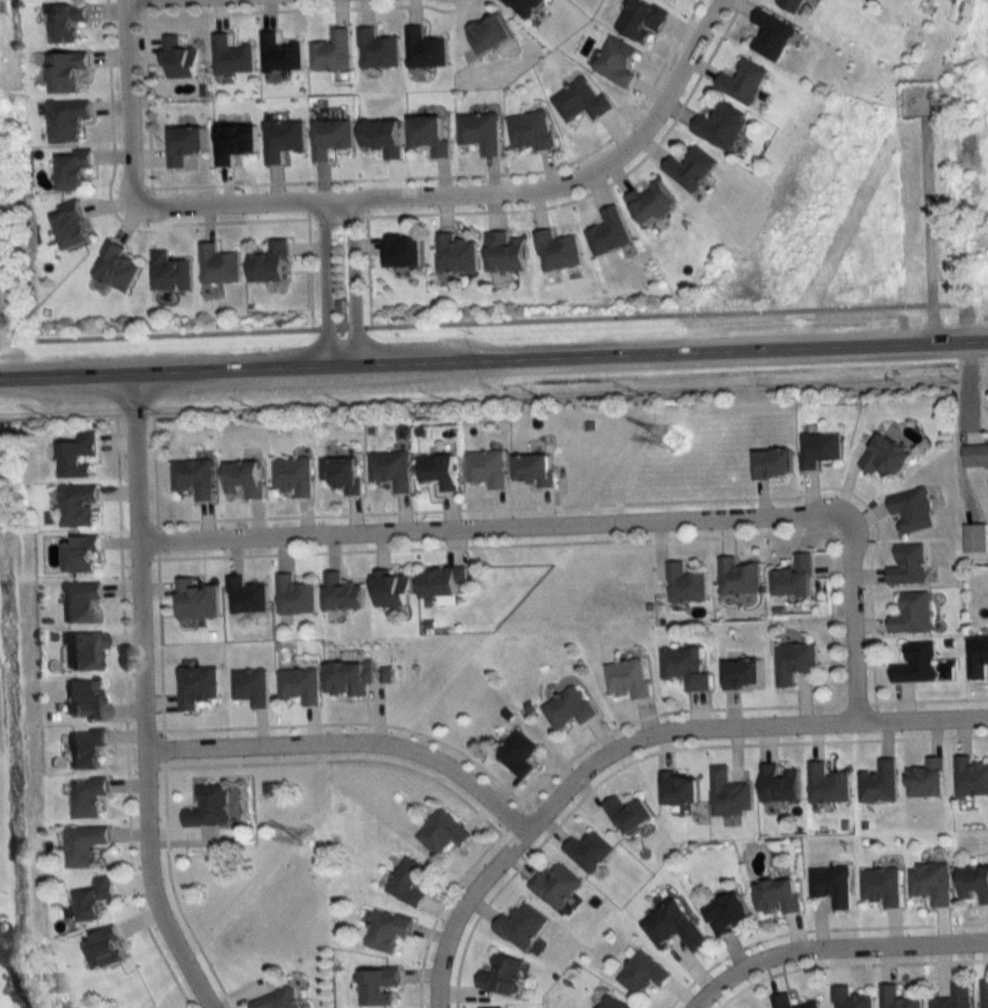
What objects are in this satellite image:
road: (131, 0)
building: (793, 5)
building: (524, 6)
building: (641, 20)
building: (63, 22)
building: (487, 34)
building: (771, 34)
building: (423, 50)
building: (376, 51)
building: (331, 53)
building: (278, 55)
building: (230, 57)
building: (178, 60)
building: (615, 62)
building: (64, 72)
building: (742, 83)
building: (580, 102)
road: (666, 103)
road: (126, 117)
building: (64, 120)
building: (720, 127)
building: (530, 132)
building: (480, 134)
building: (428, 137)
building: (330, 138)
building: (381, 139)
building: (281, 140)
building: (232, 144)
building: (182, 146)
building: (689, 169)
building: (71, 172)
road: (373, 199)
building: (649, 203)
building: (68, 226)
building: (607, 232)
road: (926, 233)
building: (402, 251)
building: (555, 251)
building: (503, 252)
building: (455, 255)
building: (269, 263)
building: (217, 266)
building: (113, 268)
building: (169, 273)
road: (354, 283)
road: (324, 284)
road: (493, 318)
road: (494, 361)
road: (479, 397)
power tower: (674, 442)
building: (817, 449)
building: (76, 454)
building: (975, 455)
building: (884, 456)
building: (770, 463)
road: (152, 469)
building: (484, 469)
building: (532, 469)
building: (389, 470)
building: (437, 470)
building: (340, 473)
building: (291, 475)
building: (193, 477)
building: (242, 478)
building: (76, 504)
road: (612, 504)
building: (910, 510)
road: (507, 526)
building: (974, 538)
road: (154, 539)
road: (492, 544)
building: (79, 553)
building: (907, 565)
building: (736, 576)
building: (793, 577)
building: (683, 583)
building: (440, 584)
building: (391, 589)
building: (340, 592)
building: (245, 596)
building: (294, 596)
building: (195, 600)
building: (79, 601)
building: (911, 613)
road: (831, 617)
road: (849, 637)
road: (157, 644)
building: (81, 650)
building: (976, 656)
building: (792, 661)
building: (915, 663)
building: (683, 666)
building: (740, 672)
building: (347, 677)
building: (626, 677)
building: (299, 684)
building: (196, 686)
building: (250, 687)
road: (142, 698)
road: (926, 699)
building: (82, 701)
road: (853, 702)
building: (567, 708)
road: (663, 712)
road: (123, 716)
road: (354, 723)
road: (636, 738)
road: (347, 744)
building: (84, 747)
road: (162, 748)
road: (650, 752)
building: (516, 754)
road: (341, 759)
building: (969, 777)
building: (925, 779)
building: (877, 783)
building: (777, 784)
building: (825, 784)
building: (678, 789)
building: (728, 794)
building: (86, 797)
building: (209, 806)
building: (628, 815)
building: (442, 832)
power tower: (308, 840)
building: (83, 845)
building: (588, 851)
building: (409, 882)
building: (929, 883)
building: (972, 884)
building: (555, 886)
building: (831, 886)
building: (880, 886)
road: (171, 890)
building: (776, 897)
building: (94, 900)
building: (726, 914)
building: (521, 926)
building: (672, 926)
road: (815, 928)
building: (387, 930)
road: (834, 947)
building: (105, 949)
road: (846, 964)
building: (500, 973)
building: (641, 973)
building: (378, 986)
building: (984, 994)
building: (954, 997)
building: (850, 998)
building: (896, 998)
building: (277, 1000)
building: (789, 1002)
building: (612, 1003)

